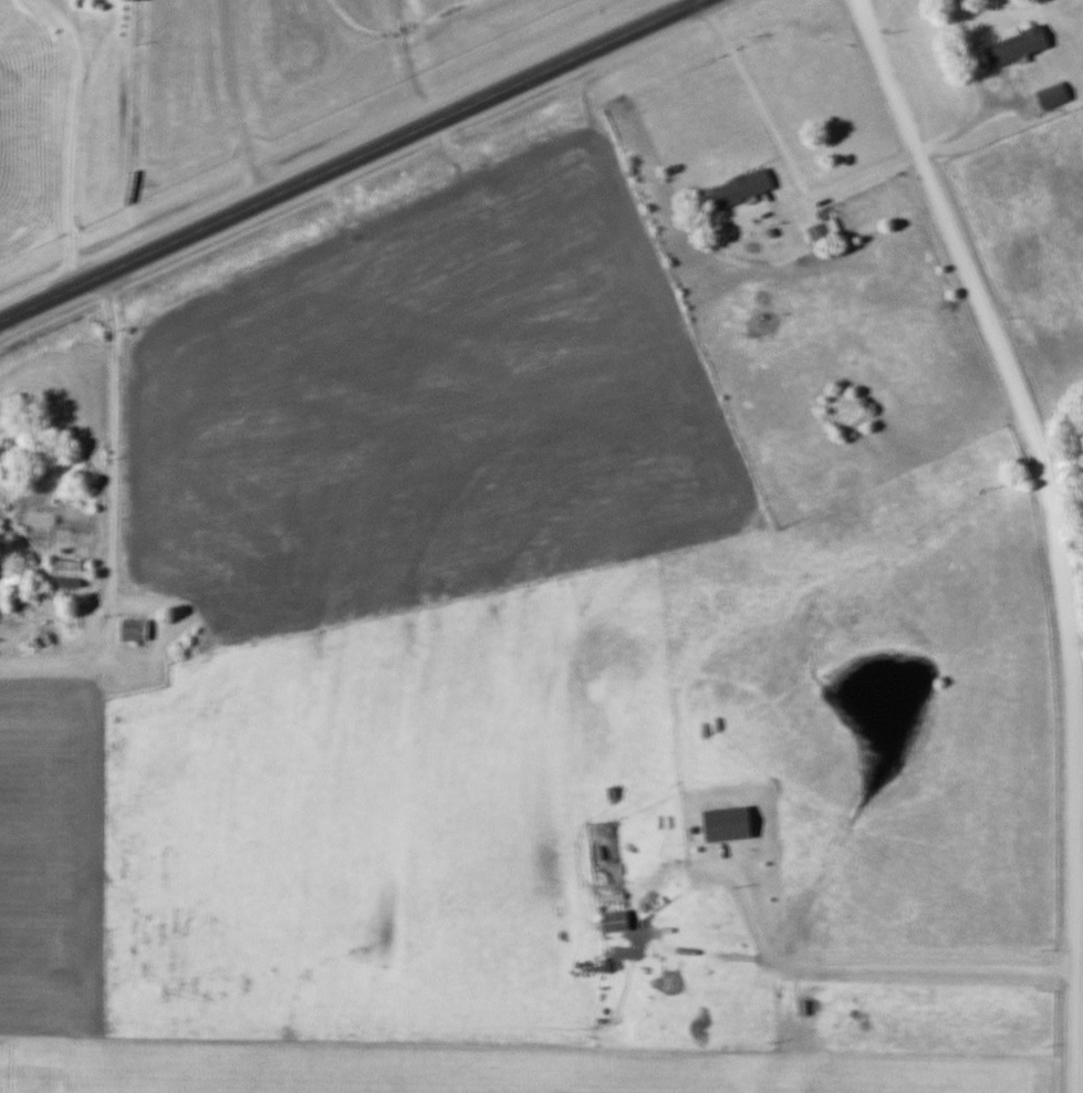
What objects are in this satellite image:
building: (1020, 44)
road: (976, 90)
building: (1055, 93)
road: (71, 139)
road: (780, 155)
road: (347, 160)
building: (746, 187)
building: (826, 232)
road: (1055, 529)
building: (137, 628)
building: (731, 822)
road: (858, 969)

